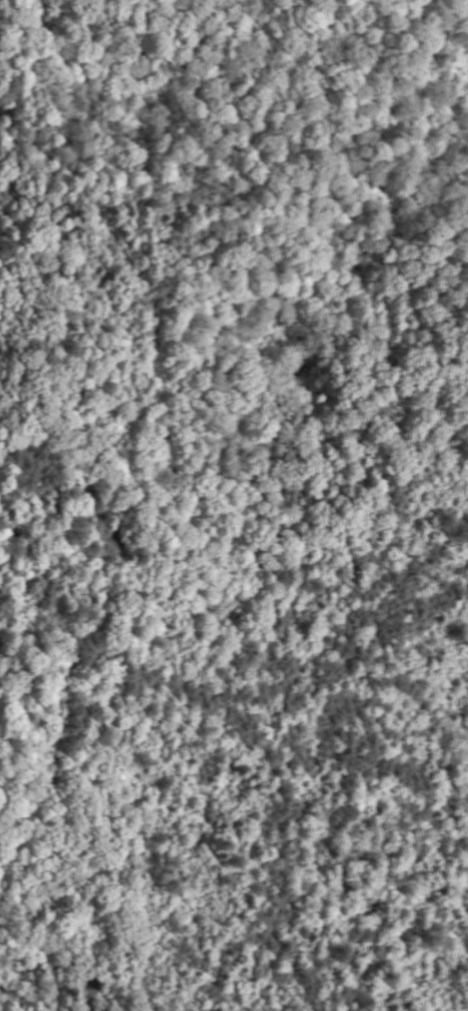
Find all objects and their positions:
road: (106, 599)

